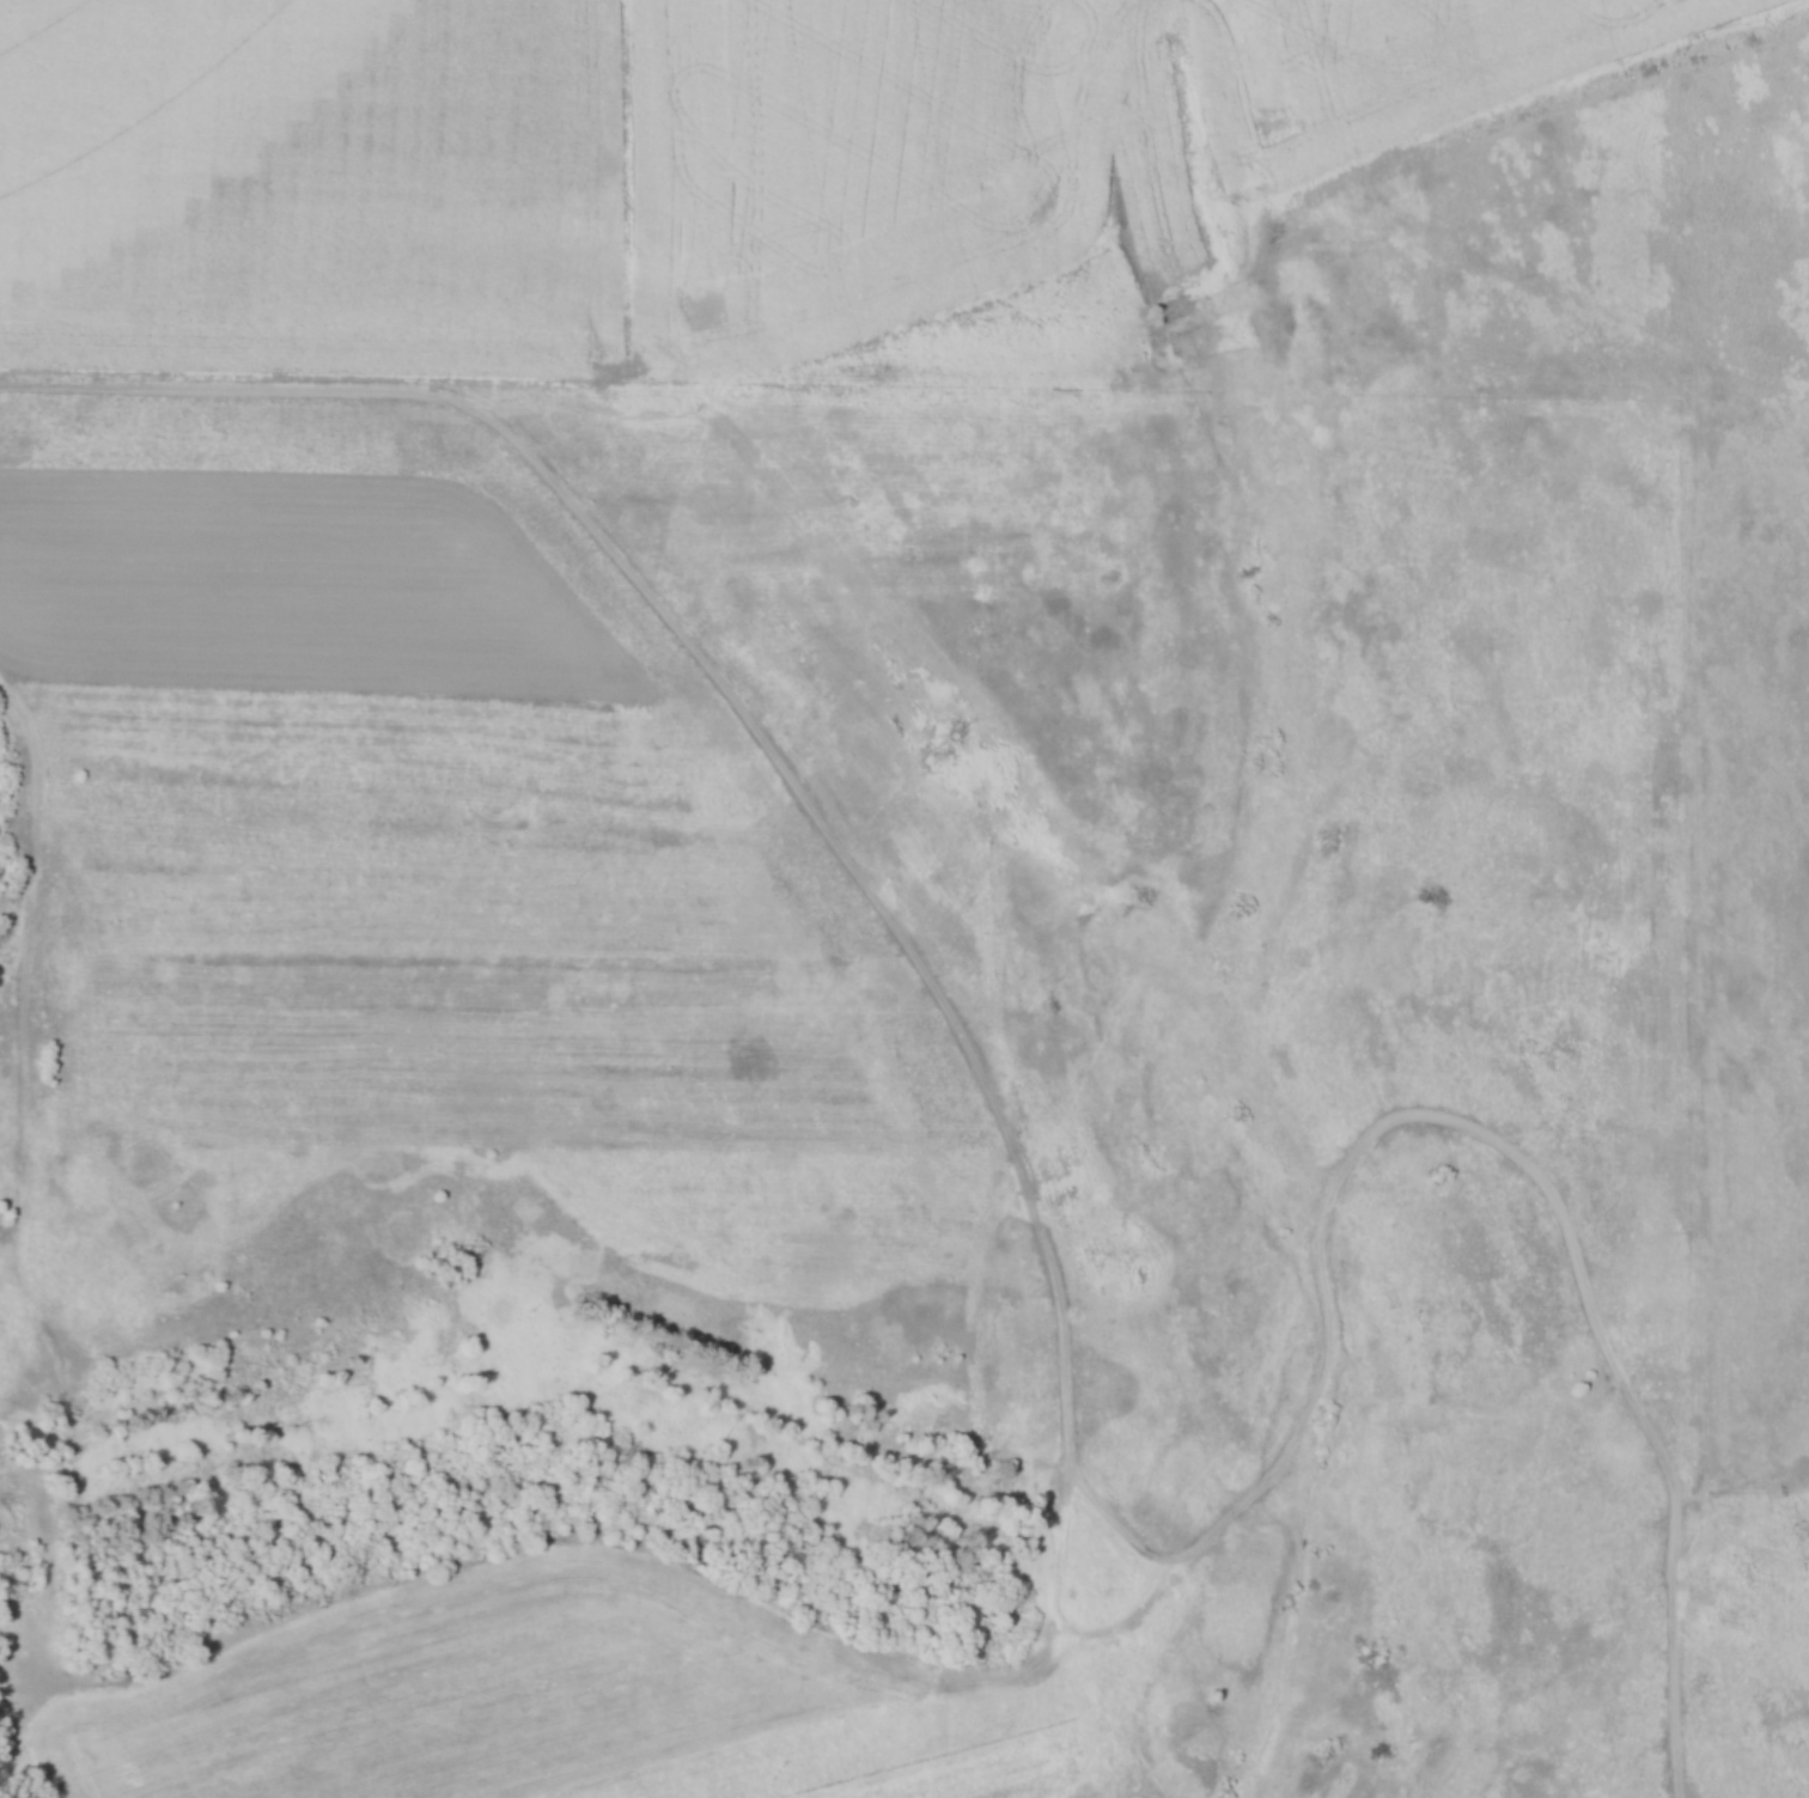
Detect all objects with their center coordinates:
crop: (169, 112)
crop: (1009, 134)
crop: (293, 590)
park: (852, 1101)
road: (1446, 1120)
crop: (464, 1696)
crop: (989, 1782)

